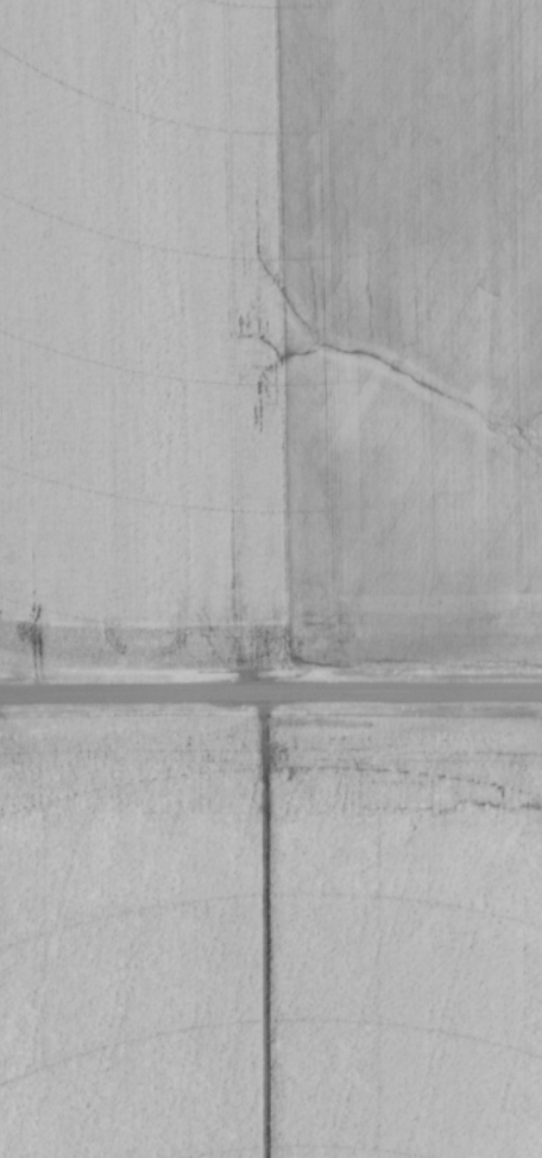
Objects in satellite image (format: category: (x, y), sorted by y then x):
road: (271, 699)

